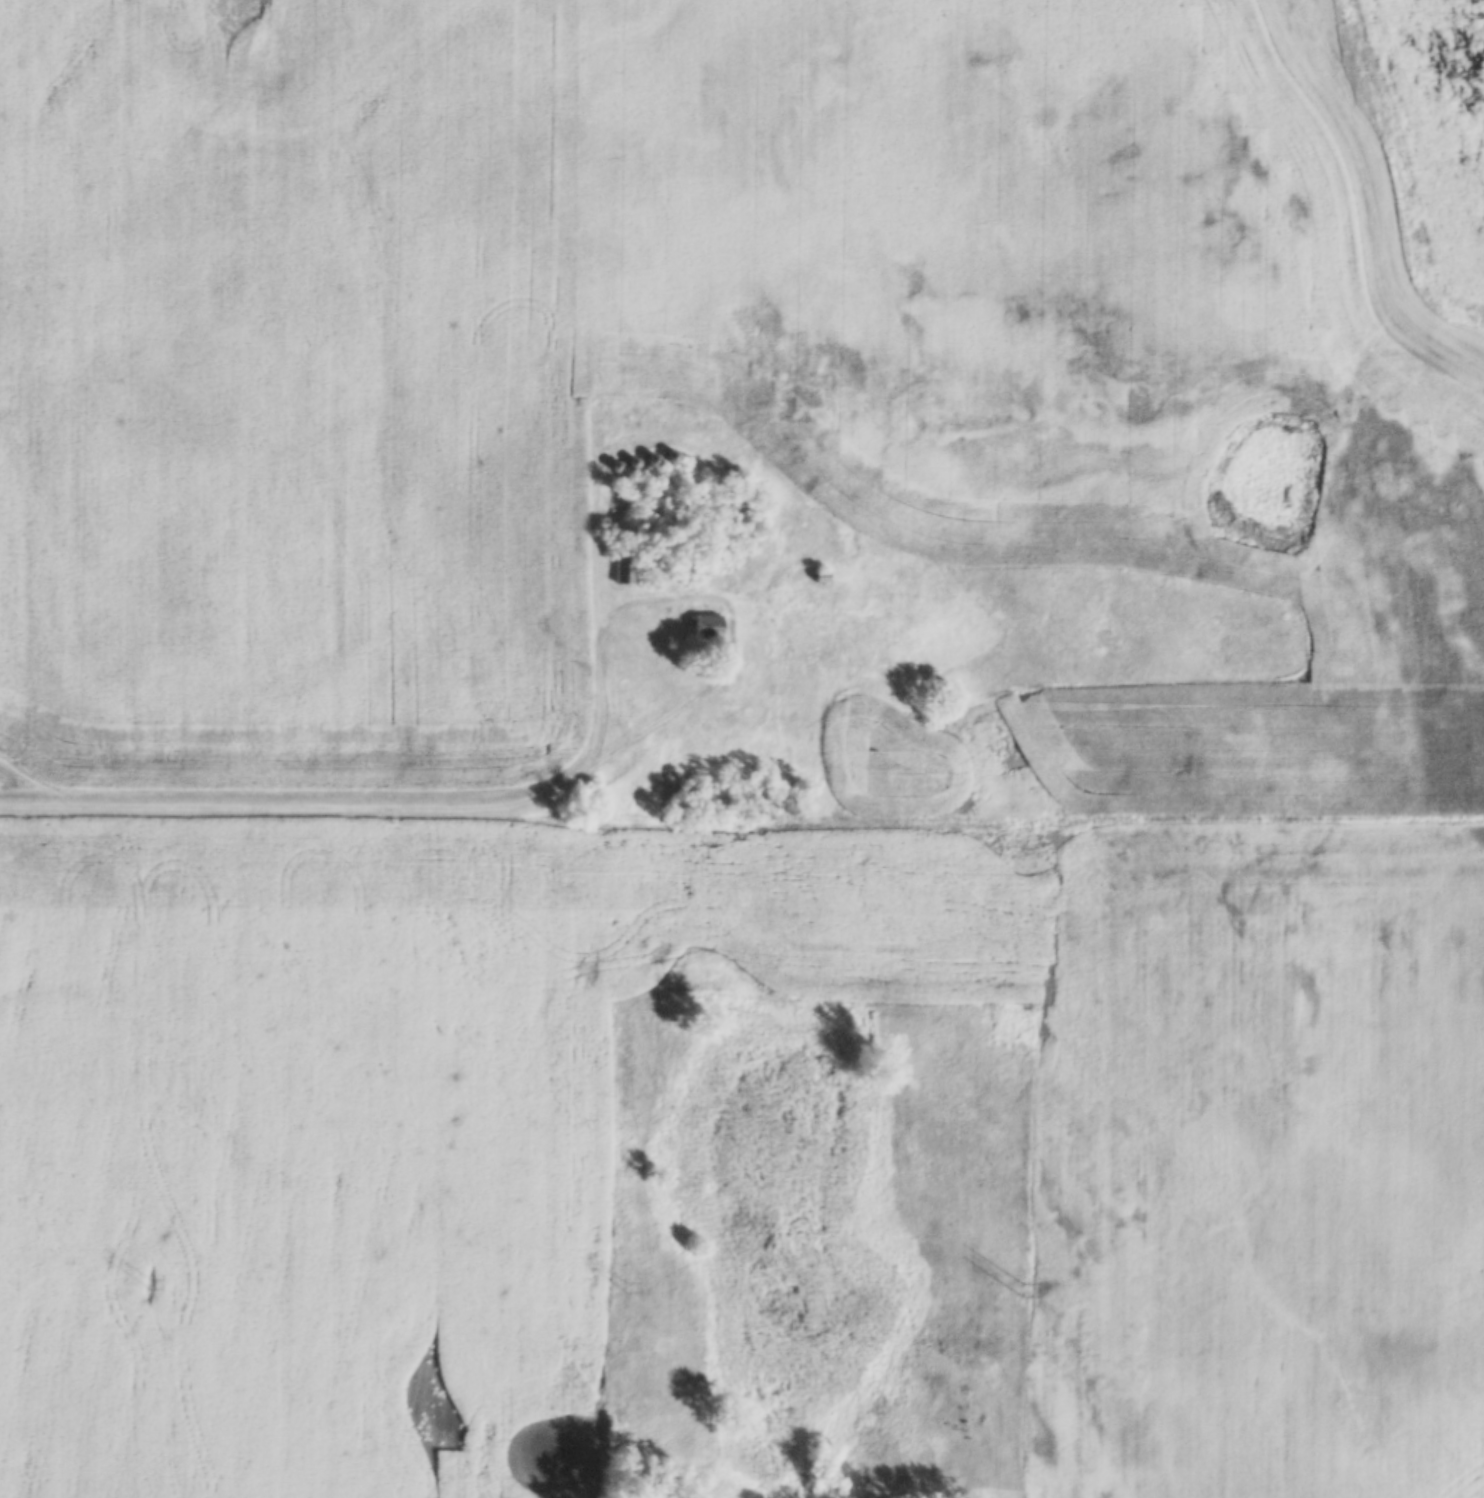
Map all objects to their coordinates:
building: (854, 412)
building: (837, 548)
building: (624, 568)
building: (821, 577)
road: (711, 600)
building: (709, 625)
road: (295, 812)
power tower: (145, 1282)
power tower: (625, 1286)
power tower: (1027, 1290)

